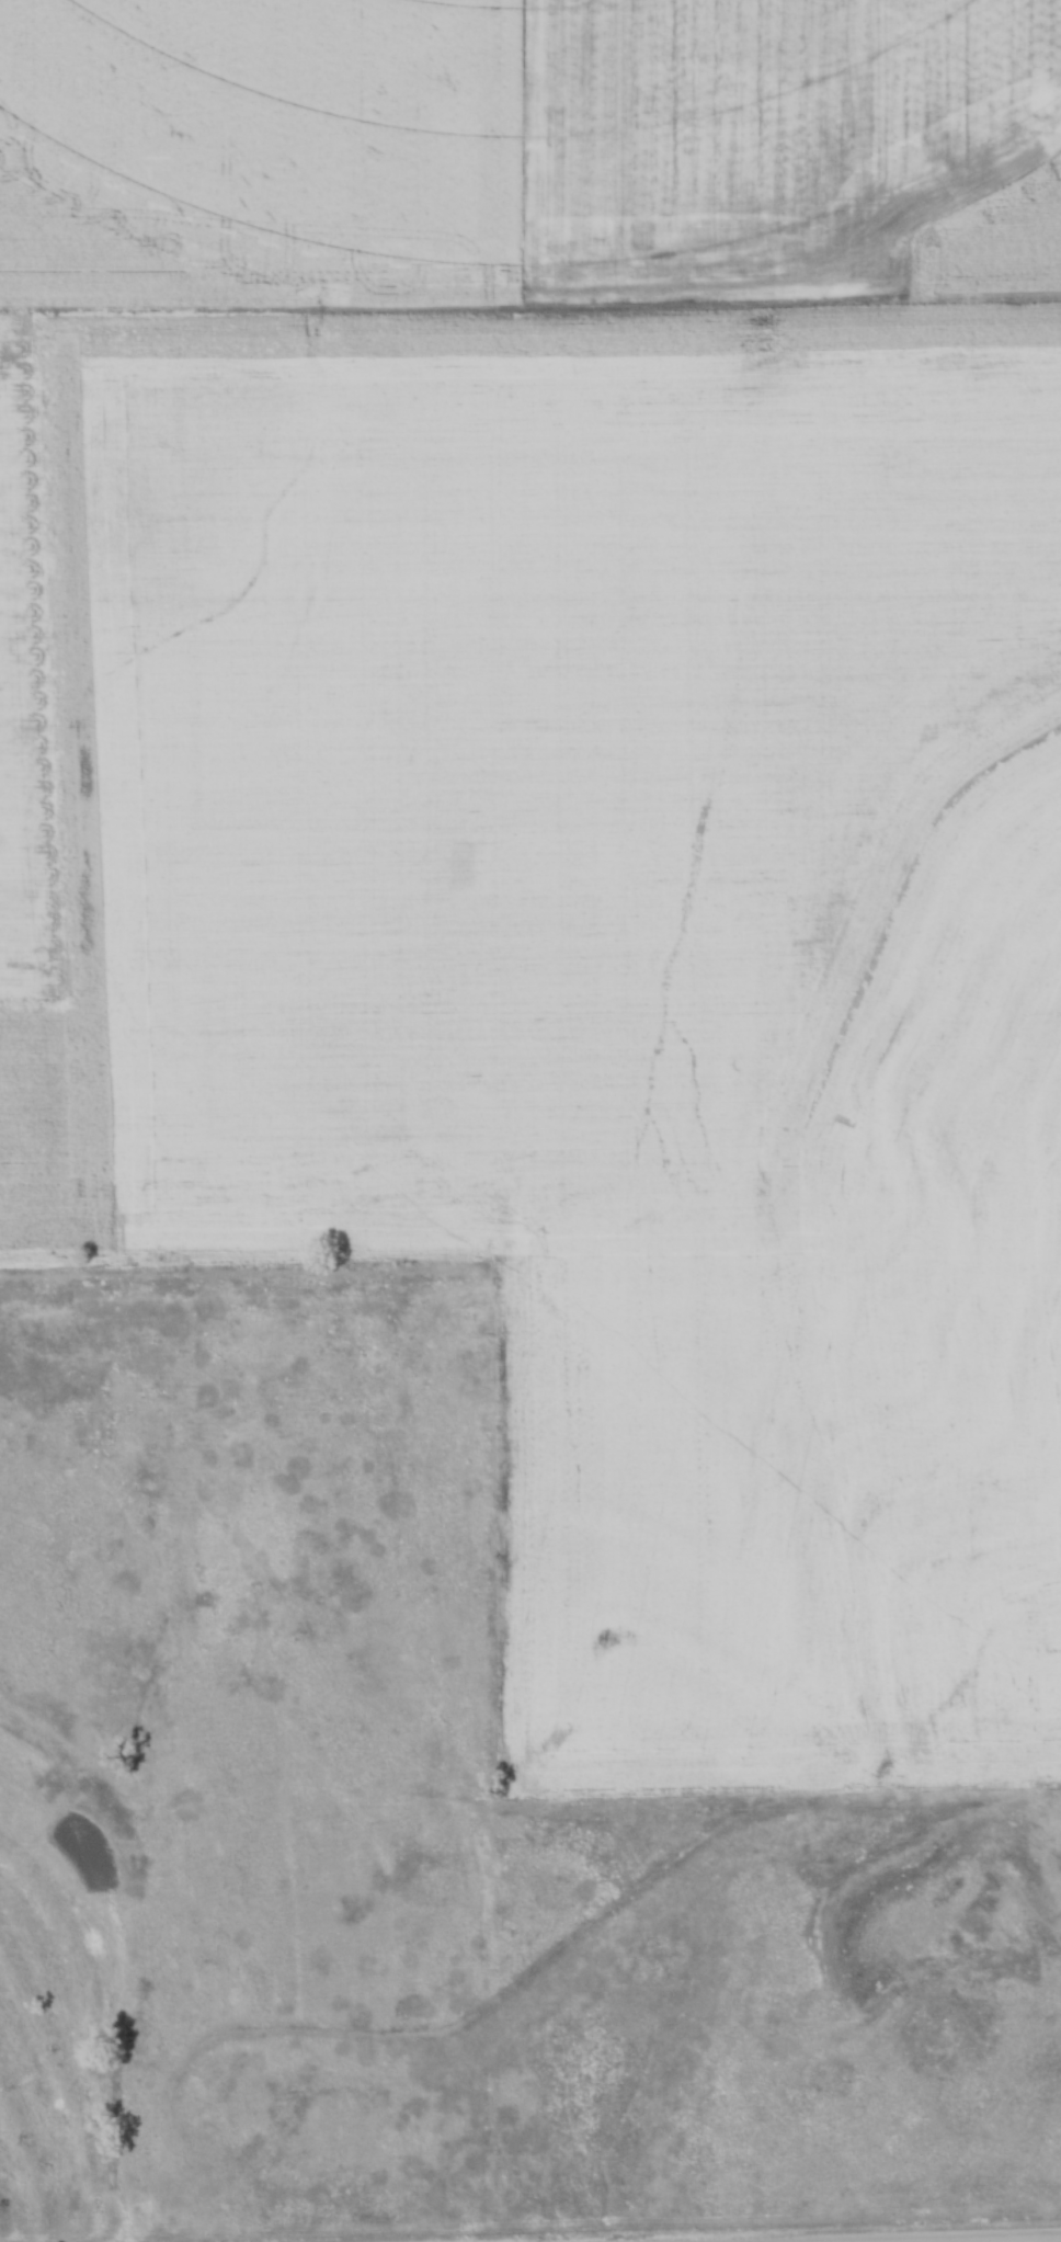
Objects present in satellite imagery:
road: (979, 2240)

